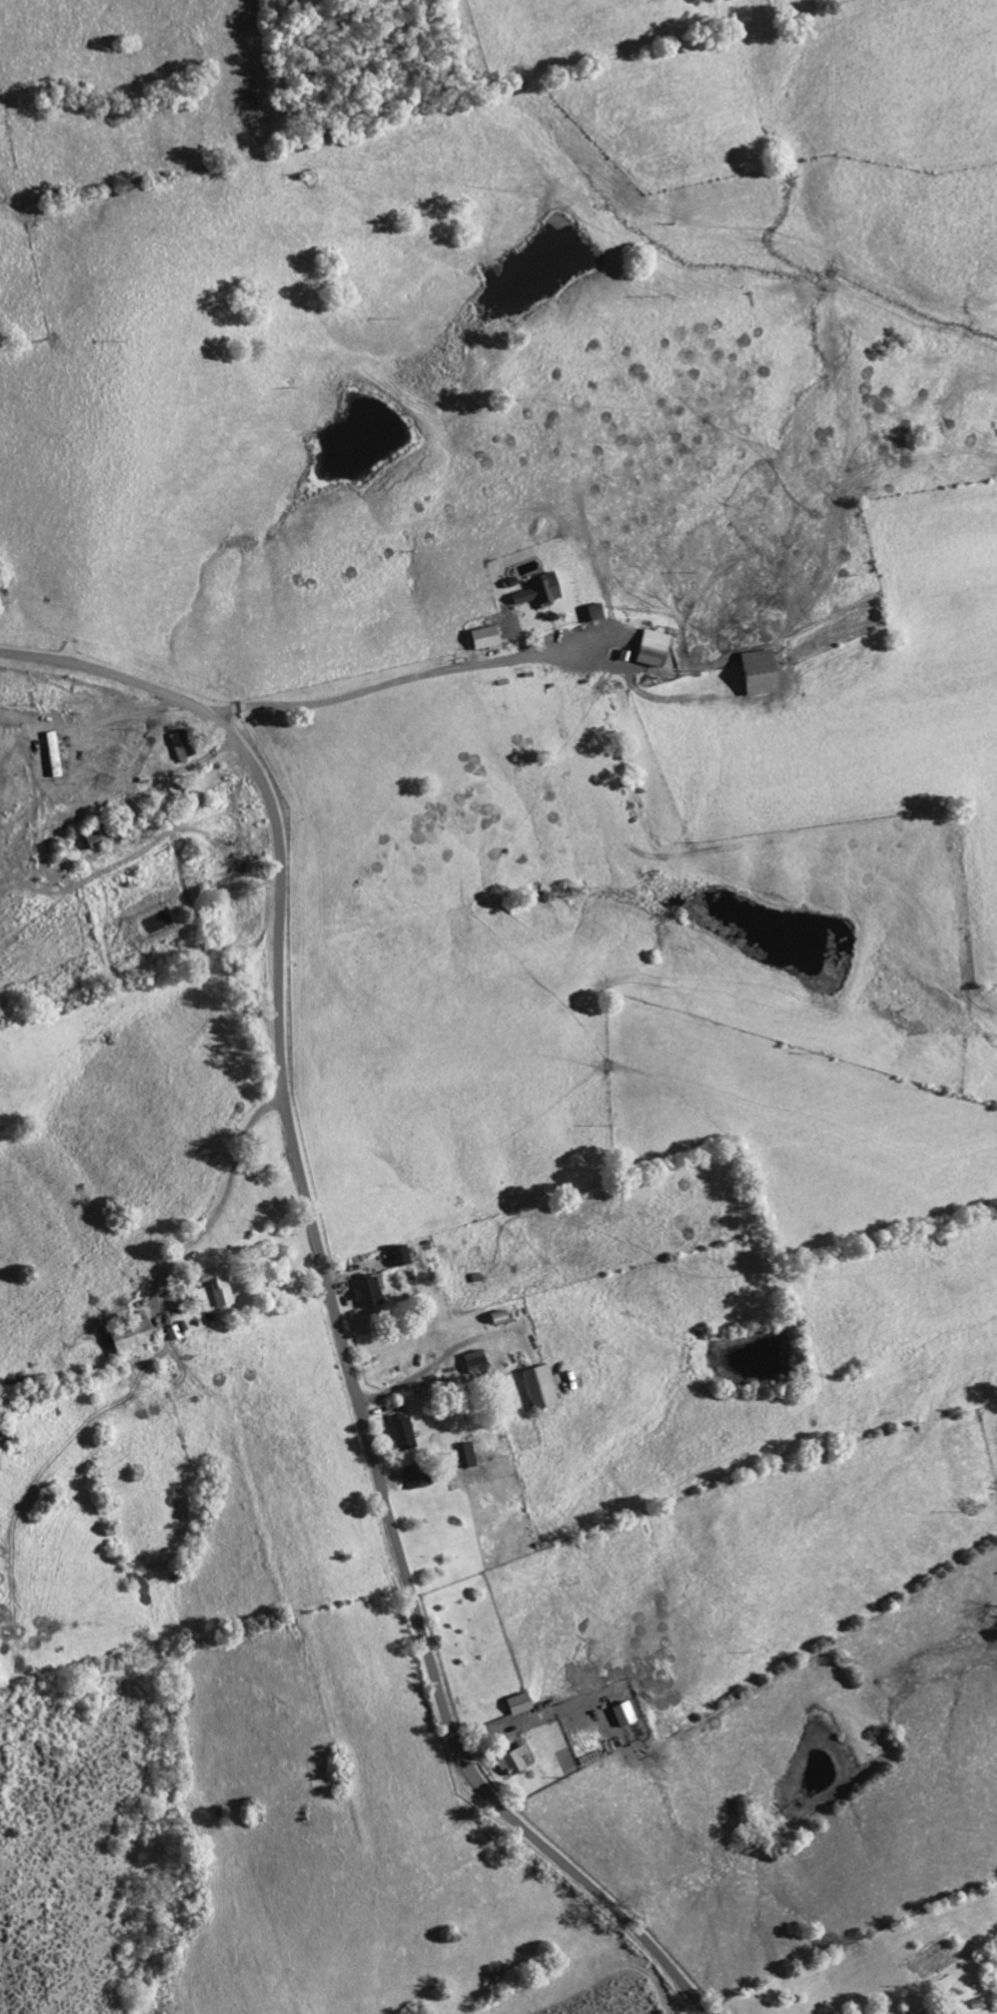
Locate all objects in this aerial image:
building: (535, 593)
building: (590, 613)
building: (647, 649)
building: (753, 674)
road: (393, 684)
building: (180, 745)
building: (138, 759)
road: (174, 772)
road: (222, 1198)
building: (397, 1256)
building: (213, 1286)
building: (363, 1293)
road: (333, 1297)
building: (172, 1333)
building: (124, 1338)
building: (472, 1363)
building: (536, 1389)
building: (398, 1433)
building: (464, 1456)
building: (515, 1705)
building: (619, 1715)
building: (509, 1762)
building: (919, 2011)

